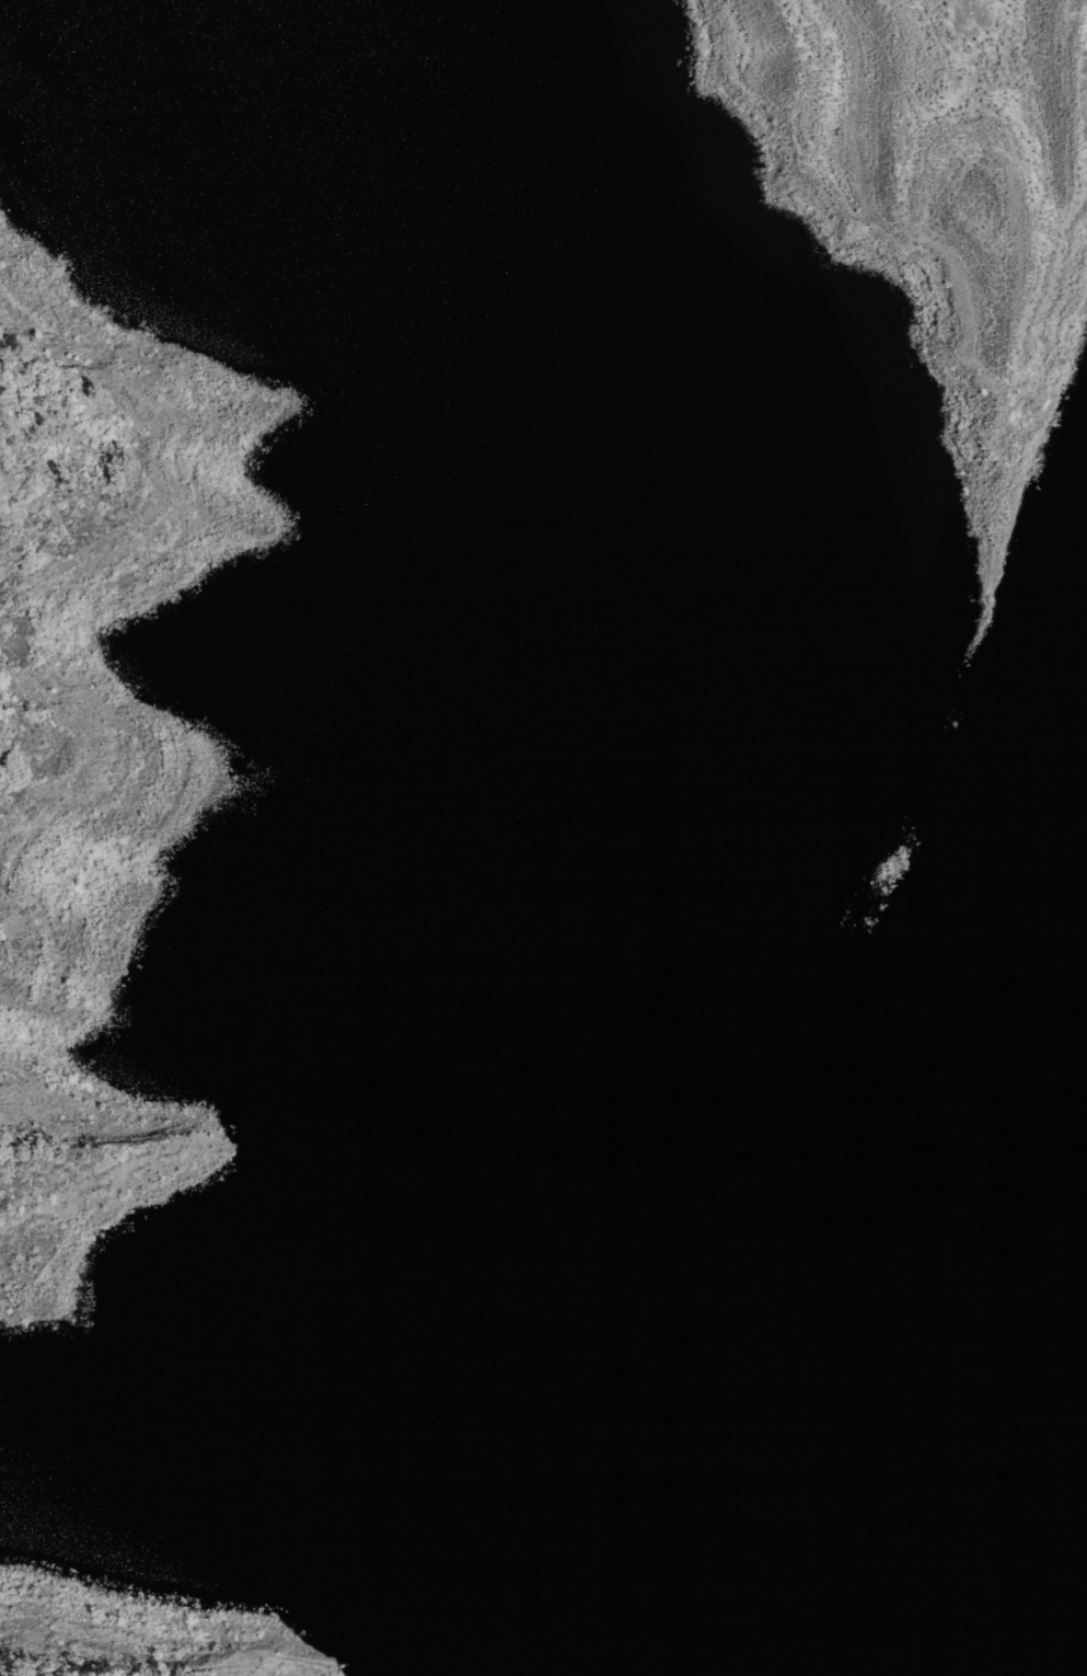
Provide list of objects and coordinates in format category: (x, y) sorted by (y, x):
park: (927, 231)

